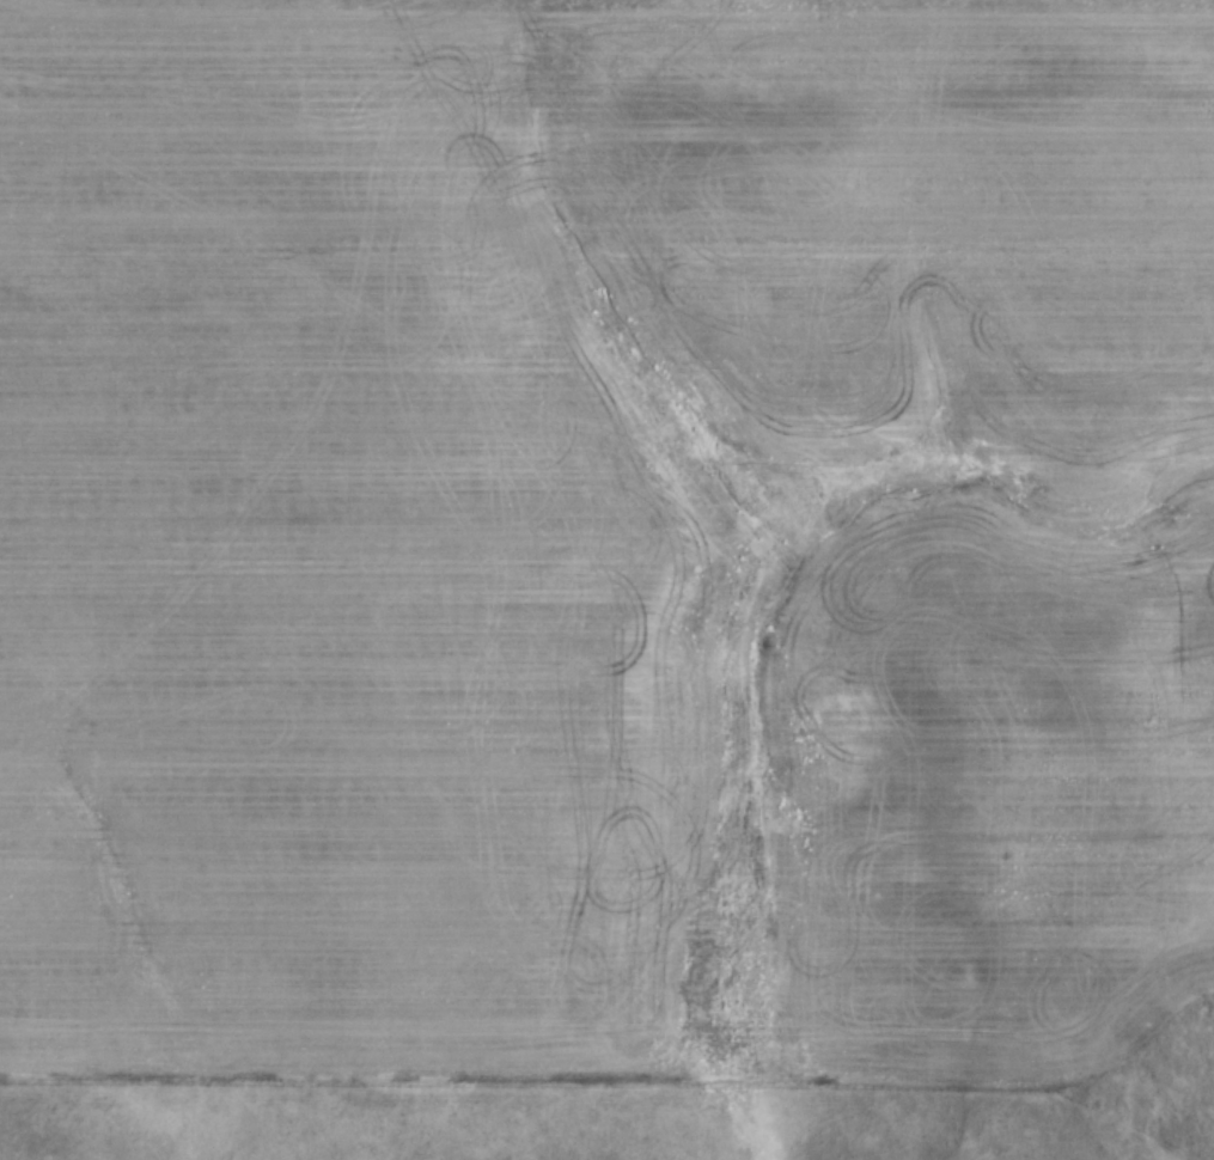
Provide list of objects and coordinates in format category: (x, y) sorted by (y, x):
road: (1045, 1158)

